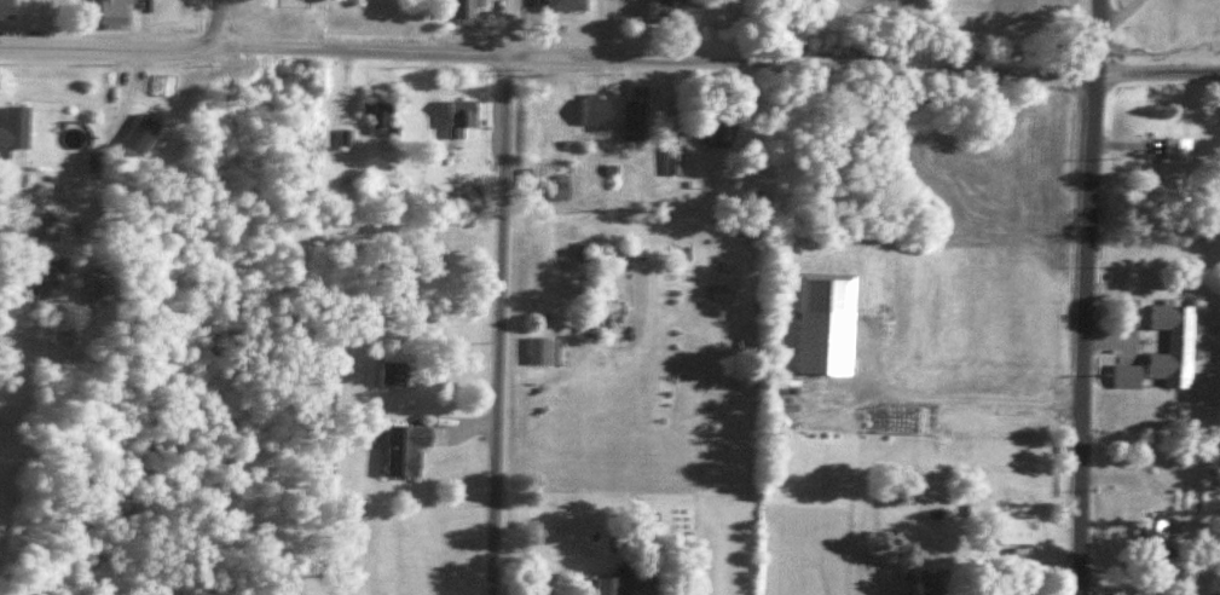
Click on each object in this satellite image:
building: (565, 6)
building: (466, 7)
building: (6, 8)
building: (108, 10)
building: (677, 11)
road: (219, 23)
road: (609, 63)
building: (595, 109)
building: (463, 111)
building: (381, 114)
building: (555, 116)
building: (634, 119)
building: (15, 126)
building: (715, 131)
building: (137, 132)
building: (1174, 169)
building: (560, 186)
building: (42, 226)
building: (44, 276)
road: (497, 296)
road: (1086, 296)
building: (825, 322)
road: (2, 339)
building: (1174, 345)
building: (545, 348)
building: (394, 371)
building: (1127, 376)
building: (406, 446)
building: (1016, 530)
building: (1156, 537)
building: (634, 584)

